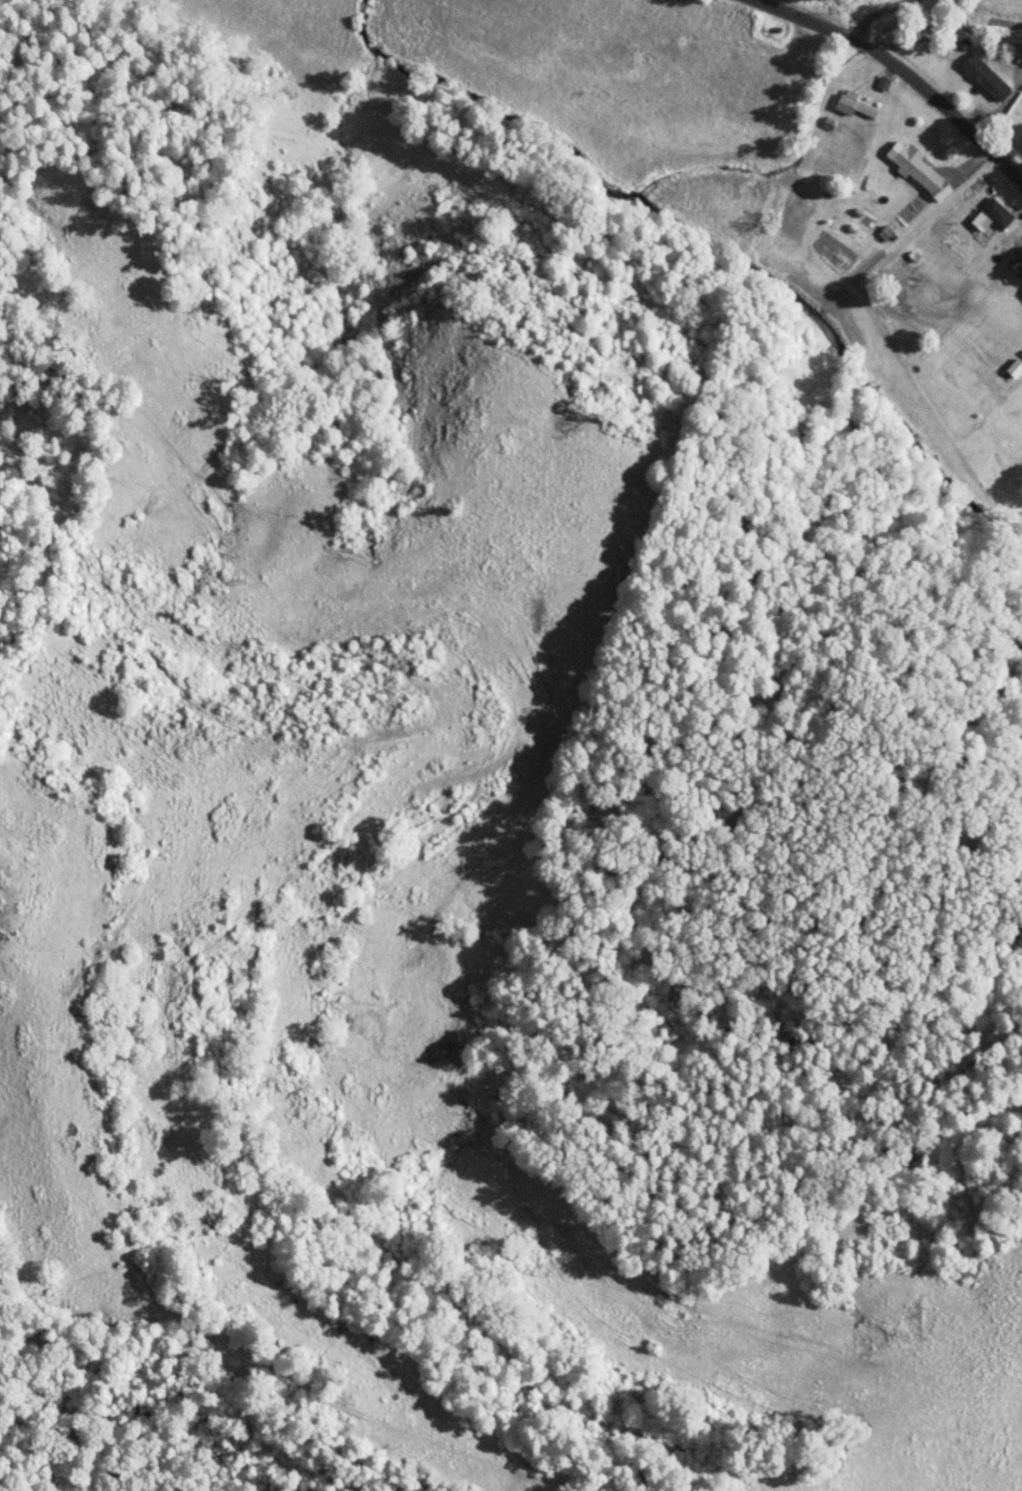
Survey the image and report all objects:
road: (903, 71)
building: (980, 77)
building: (849, 104)
building: (821, 134)
building: (914, 168)
building: (993, 212)
building: (1015, 262)

